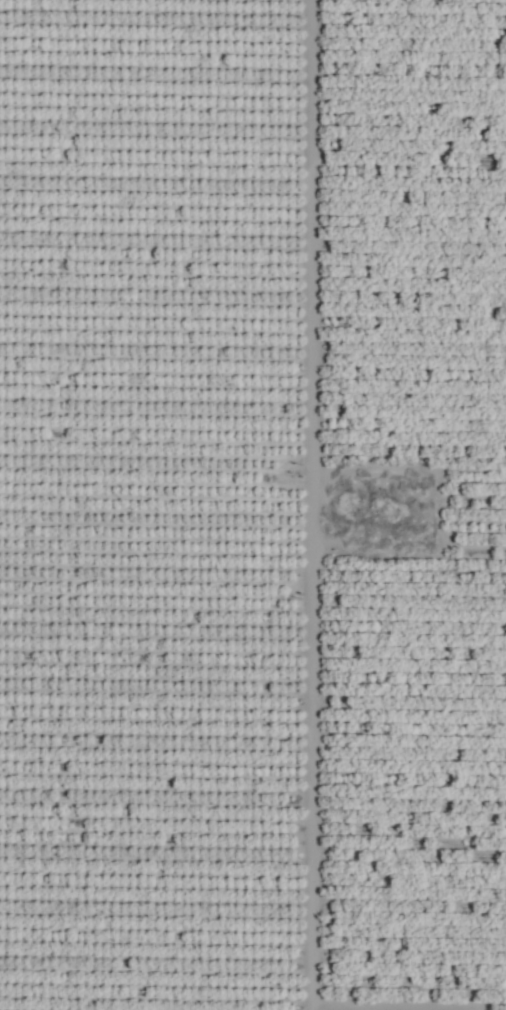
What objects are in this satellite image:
road: (313, 505)

